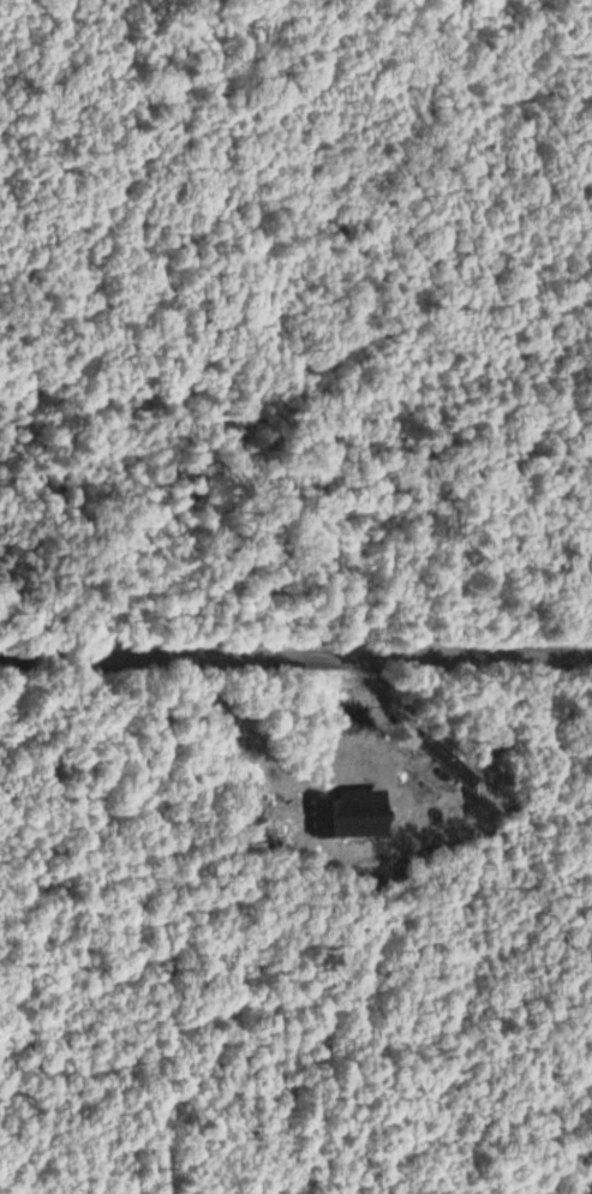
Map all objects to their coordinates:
road: (295, 650)

